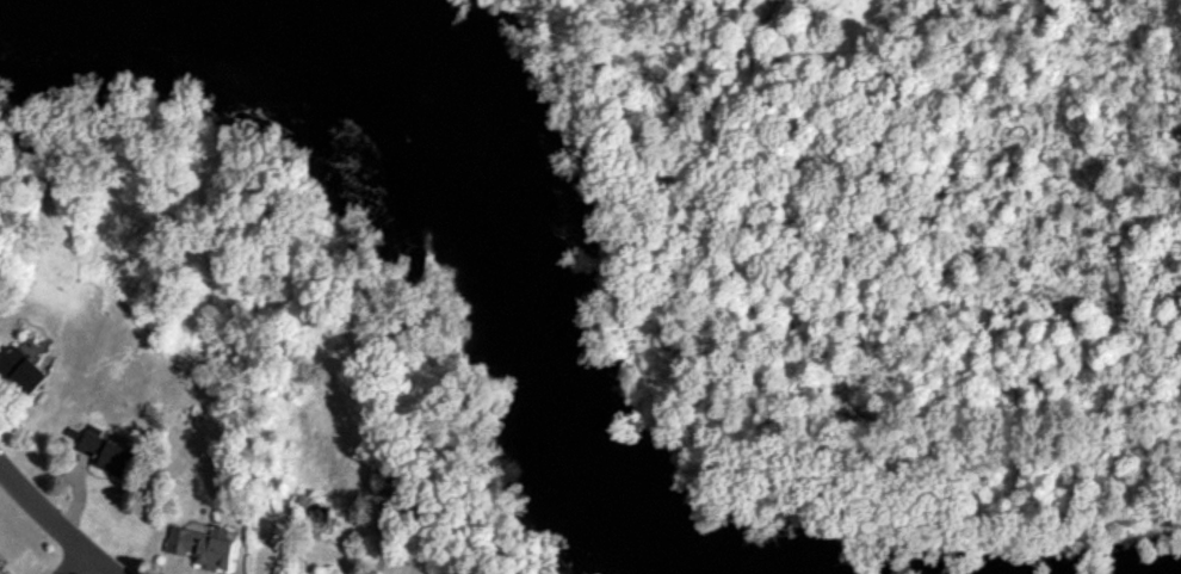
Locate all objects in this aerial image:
river: (482, 168)
building: (21, 370)
building: (106, 452)
road: (52, 518)
building: (203, 545)
building: (0, 558)
road: (73, 562)

